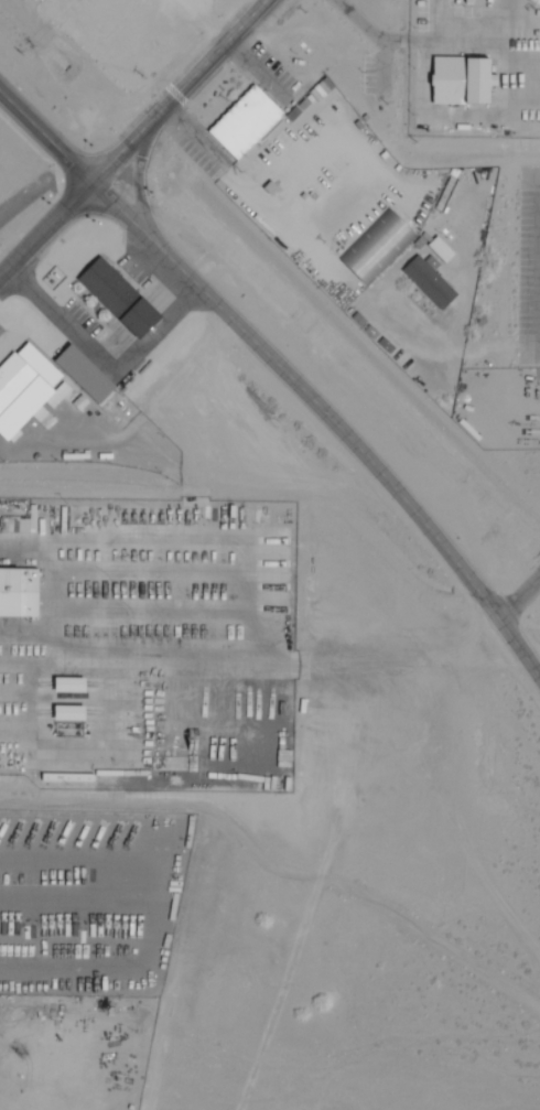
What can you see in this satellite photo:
road: (366, 30)
road: (381, 65)
parking lot: (269, 76)
parking lot: (377, 76)
building: (461, 83)
road: (179, 90)
building: (247, 125)
road: (45, 137)
road: (196, 139)
parking lot: (199, 146)
road: (139, 187)
road: (45, 229)
building: (377, 247)
building: (442, 250)
parking lot: (529, 268)
building: (430, 283)
building: (120, 299)
parking lot: (76, 324)
road: (105, 364)
building: (24, 389)
road: (330, 418)
building: (313, 559)
building: (20, 595)
road: (519, 599)
building: (72, 687)
building: (72, 714)
building: (71, 731)
building: (317, 775)

